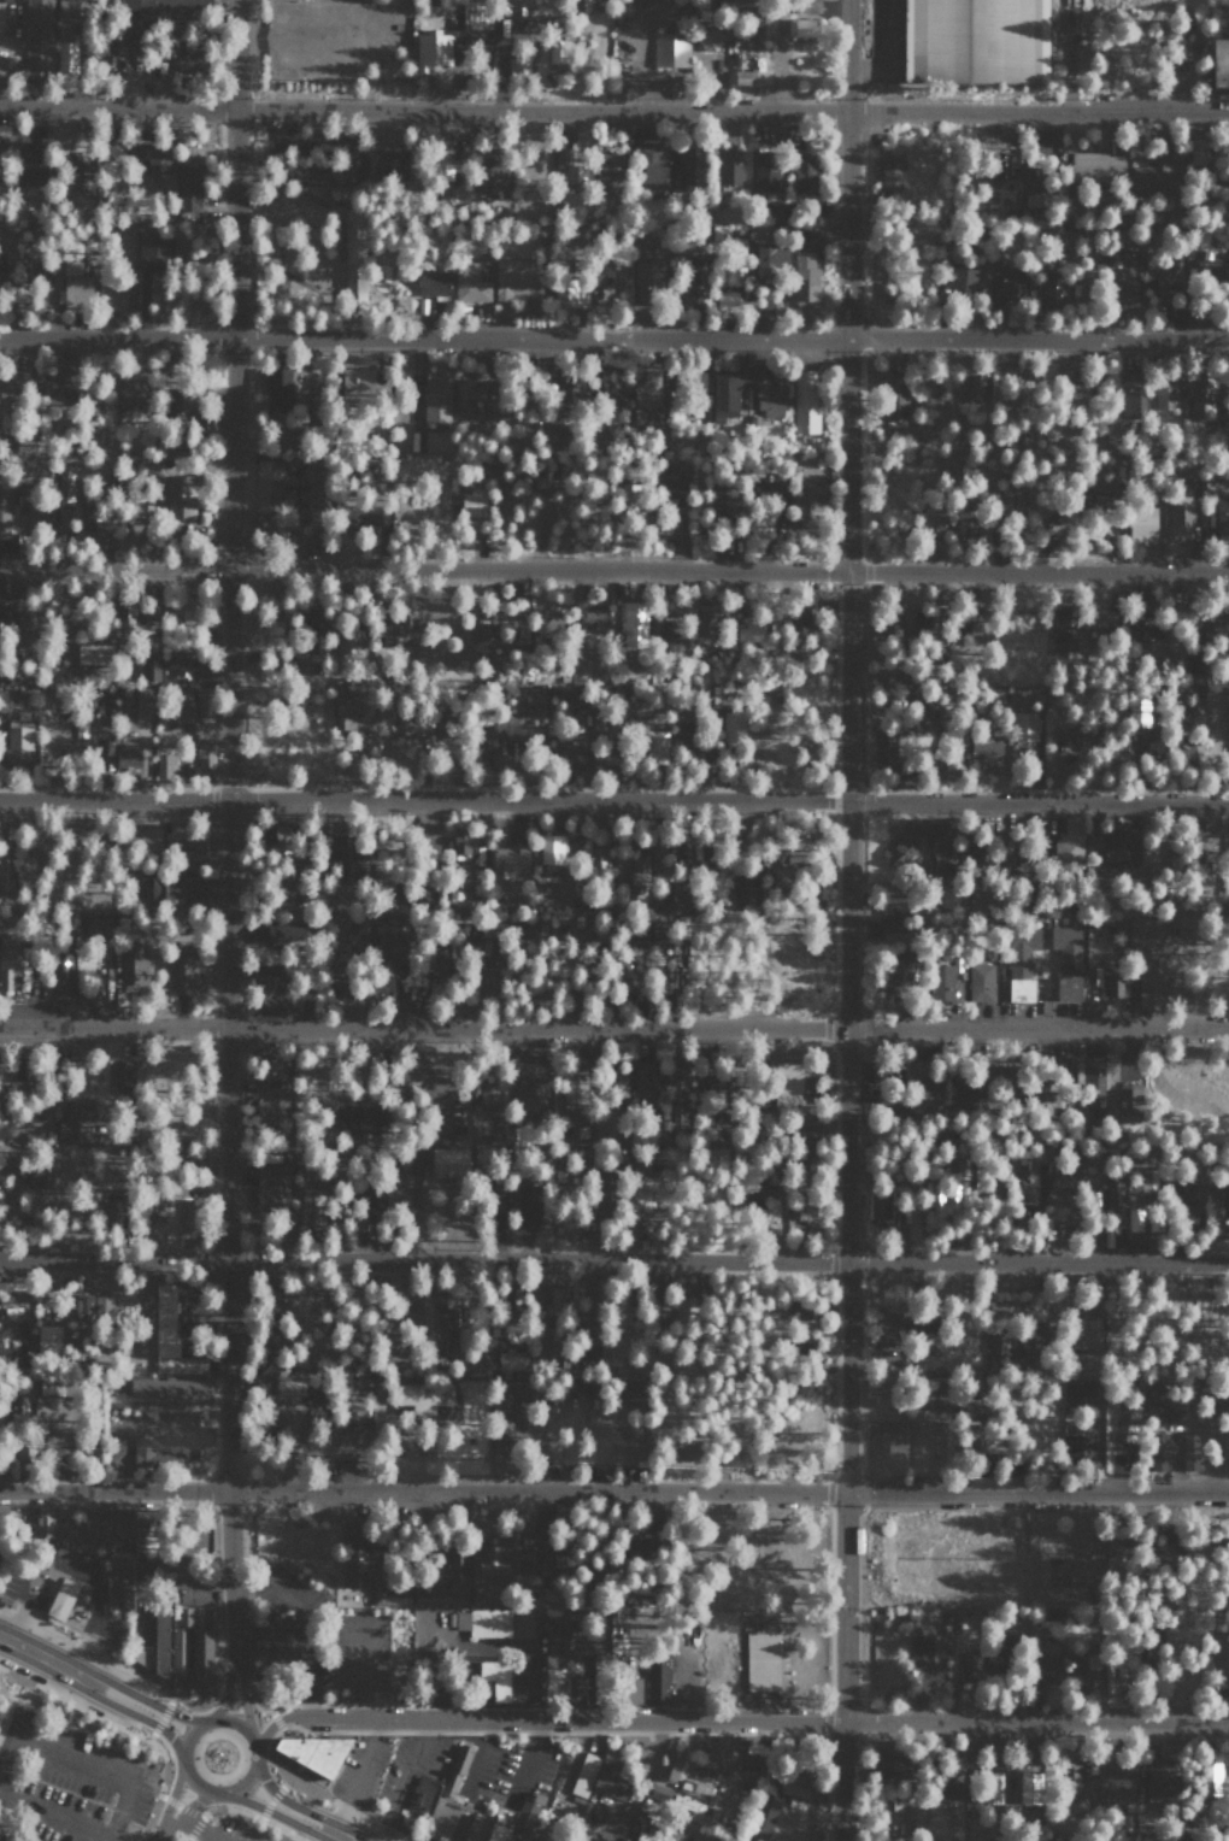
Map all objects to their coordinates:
building: (807, 6)
building: (514, 7)
building: (66, 11)
building: (165, 11)
building: (800, 27)
building: (708, 35)
building: (37, 40)
building: (975, 41)
building: (670, 49)
building: (431, 51)
building: (558, 51)
building: (189, 54)
building: (66, 57)
building: (1221, 63)
building: (742, 77)
road: (613, 112)
building: (117, 149)
building: (1198, 151)
building: (154, 159)
building: (33, 164)
building: (443, 164)
building: (388, 165)
building: (1004, 165)
building: (654, 166)
building: (689, 166)
building: (728, 166)
building: (1098, 166)
building: (81, 169)
building: (568, 169)
building: (610, 169)
building: (765, 171)
building: (804, 172)
building: (1151, 178)
building: (489, 181)
building: (188, 189)
building: (353, 251)
building: (153, 252)
building: (771, 259)
building: (1, 265)
building: (1206, 269)
building: (646, 271)
building: (1125, 273)
building: (514, 278)
building: (805, 278)
building: (963, 280)
building: (692, 281)
building: (470, 283)
building: (1007, 283)
building: (75, 284)
building: (433, 284)
building: (1051, 292)
building: (570, 293)
building: (727, 300)
road: (614, 336)
building: (351, 380)
building: (698, 380)
building: (1070, 388)
building: (277, 389)
building: (972, 390)
building: (52, 392)
building: (130, 392)
building: (469, 392)
building: (647, 394)
building: (724, 394)
building: (613, 395)
building: (1129, 395)
building: (1164, 395)
building: (436, 396)
building: (1201, 396)
building: (770, 398)
building: (180, 401)
building: (804, 402)
building: (894, 402)
building: (64, 483)
building: (674, 483)
building: (267, 486)
building: (313, 488)
building: (808, 494)
building: (180, 495)
building: (1012, 499)
building: (4, 510)
building: (39, 512)
building: (1181, 514)
building: (1222, 516)
building: (968, 517)
building: (90, 518)
building: (931, 518)
building: (1142, 522)
road: (613, 570)
building: (130, 604)
building: (593, 618)
building: (633, 622)
building: (705, 623)
building: (1219, 624)
building: (968, 627)
building: (1064, 627)
building: (1143, 627)
building: (547, 628)
building: (24, 629)
building: (477, 629)
building: (748, 629)
building: (393, 630)
building: (516, 634)
building: (675, 634)
building: (88, 653)
building: (1193, 659)
building: (149, 663)
building: (181, 670)
building: (6, 672)
building: (580, 699)
building: (530, 700)
building: (181, 701)
building: (106, 702)
building: (143, 704)
building: (1137, 707)
building: (1196, 708)
building: (346, 714)
building: (408, 722)
building: (441, 723)
building: (734, 723)
building: (1027, 724)
building: (1083, 735)
building: (18, 742)
building: (654, 743)
building: (886, 747)
building: (983, 748)
building: (569, 751)
building: (608, 753)
building: (204, 754)
building: (127, 755)
building: (165, 763)
road: (613, 800)
road: (223, 827)
building: (145, 836)
building: (274, 837)
building: (907, 837)
building: (184, 840)
building: (1069, 841)
building: (461, 843)
building: (941, 845)
building: (1121, 846)
building: (552, 847)
building: (1198, 849)
building: (347, 854)
building: (600, 855)
building: (510, 857)
building: (5, 859)
building: (636, 883)
building: (171, 888)
building: (670, 892)
building: (743, 892)
building: (892, 912)
road: (842, 919)
building: (637, 930)
building: (1143, 930)
building: (283, 931)
building: (355, 931)
building: (659, 934)
building: (387, 937)
building: (490, 946)
building: (100, 952)
building: (1066, 958)
building: (7, 960)
building: (1021, 961)
building: (431, 963)
building: (131, 965)
building: (183, 965)
building: (60, 970)
building: (270, 970)
building: (900, 972)
building: (981, 982)
building: (1113, 982)
building: (1149, 982)
building: (945, 983)
building: (270, 996)
road: (614, 1029)
building: (122, 1076)
building: (646, 1078)
building: (1088, 1080)
building: (616, 1081)
building: (786, 1083)
building: (963, 1088)
building: (912, 1089)
building: (678, 1090)
building: (574, 1094)
building: (534, 1095)
building: (1042, 1096)
building: (1128, 1098)
building: (271, 1100)
building: (494, 1104)
building: (358, 1118)
building: (75, 1122)
building: (448, 1161)
building: (31, 1172)
building: (1027, 1182)
building: (1060, 1182)
building: (274, 1183)
building: (640, 1193)
building: (1182, 1194)
building: (1115, 1195)
building: (1095, 1200)
building: (1227, 1201)
building: (528, 1206)
building: (153, 1207)
building: (801, 1213)
building: (1135, 1219)
road: (613, 1261)
building: (557, 1299)
building: (796, 1306)
building: (996, 1310)
building: (433, 1319)
building: (923, 1328)
building: (170, 1336)
building: (890, 1337)
building: (49, 1339)
building: (998, 1345)
building: (511, 1360)
building: (1030, 1360)
building: (267, 1364)
building: (51, 1387)
building: (289, 1387)
building: (263, 1390)
building: (170, 1392)
building: (1080, 1394)
building: (1212, 1395)
building: (424, 1396)
building: (1160, 1399)
building: (502, 1400)
building: (348, 1418)
building: (1123, 1424)
building: (921, 1429)
building: (417, 1437)
building: (975, 1440)
building: (895, 1446)
building: (1080, 1446)
building: (500, 1451)
building: (1172, 1451)
building: (1228, 1454)
building: (153, 1455)
building: (622, 1457)
road: (614, 1489)
building: (45, 1523)
building: (106, 1527)
building: (1228, 1541)
building: (1116, 1549)
building: (493, 1551)
building: (353, 1554)
building: (131, 1561)
building: (1046, 1568)
building: (458, 1572)
road: (246, 1588)
building: (61, 1599)
building: (184, 1616)
building: (483, 1622)
building: (161, 1637)
building: (275, 1641)
building: (919, 1649)
building: (1219, 1649)
road: (42, 1657)
building: (201, 1659)
road: (105, 1660)
building: (761, 1660)
building: (557, 1663)
building: (969, 1665)
building: (1084, 1669)
building: (1046, 1671)
road: (218, 1678)
building: (495, 1678)
building: (658, 1680)
road: (227, 1688)
building: (576, 1689)
building: (630, 1689)
road: (234, 1690)
road: (242, 1693)
road: (143, 1699)
road: (341, 1702)
road: (189, 1705)
road: (255, 1705)
road: (96, 1711)
road: (135, 1714)
road: (161, 1716)
road: (276, 1718)
road: (541, 1718)
road: (236, 1722)
road: (1035, 1723)
road: (465, 1731)
road: (188, 1734)
road: (794, 1736)
road: (266, 1751)
building: (312, 1751)
road: (476, 1755)
building: (610, 1757)
road: (529, 1758)
building: (640, 1759)
building: (671, 1763)
road: (165, 1764)
building: (890, 1765)
road: (84, 1766)
building: (457, 1770)
building: (583, 1774)
road: (247, 1775)
road: (359, 1776)
building: (1116, 1776)
road: (402, 1778)
building: (1070, 1778)
road: (194, 1780)
building: (1210, 1780)
park: (99, 1782)
parking lot: (72, 1783)
building: (611, 1783)
building: (795, 1784)
building: (695, 1787)
building: (949, 1787)
building: (992, 1787)
building: (1030, 1788)
building: (421, 1793)
building: (659, 1794)
road: (274, 1795)
road: (170, 1800)
road: (286, 1800)
road: (170, 1802)
road: (177, 1806)
road: (348, 1807)
building: (695, 1808)
road: (246, 1810)
road: (189, 1811)
road: (274, 1812)
road: (187, 1813)
road: (201, 1814)
road: (53, 1816)
building: (761, 1817)
building: (890, 1817)
building: (488, 1824)
road: (194, 1827)
building: (519, 1827)
road: (200, 1830)
parking lot: (234, 1831)
road: (341, 1835)
building: (643, 1835)
road: (298, 1836)
road: (113, 1839)
road: (188, 1839)
building: (541, 1839)
building: (1069, 1840)

